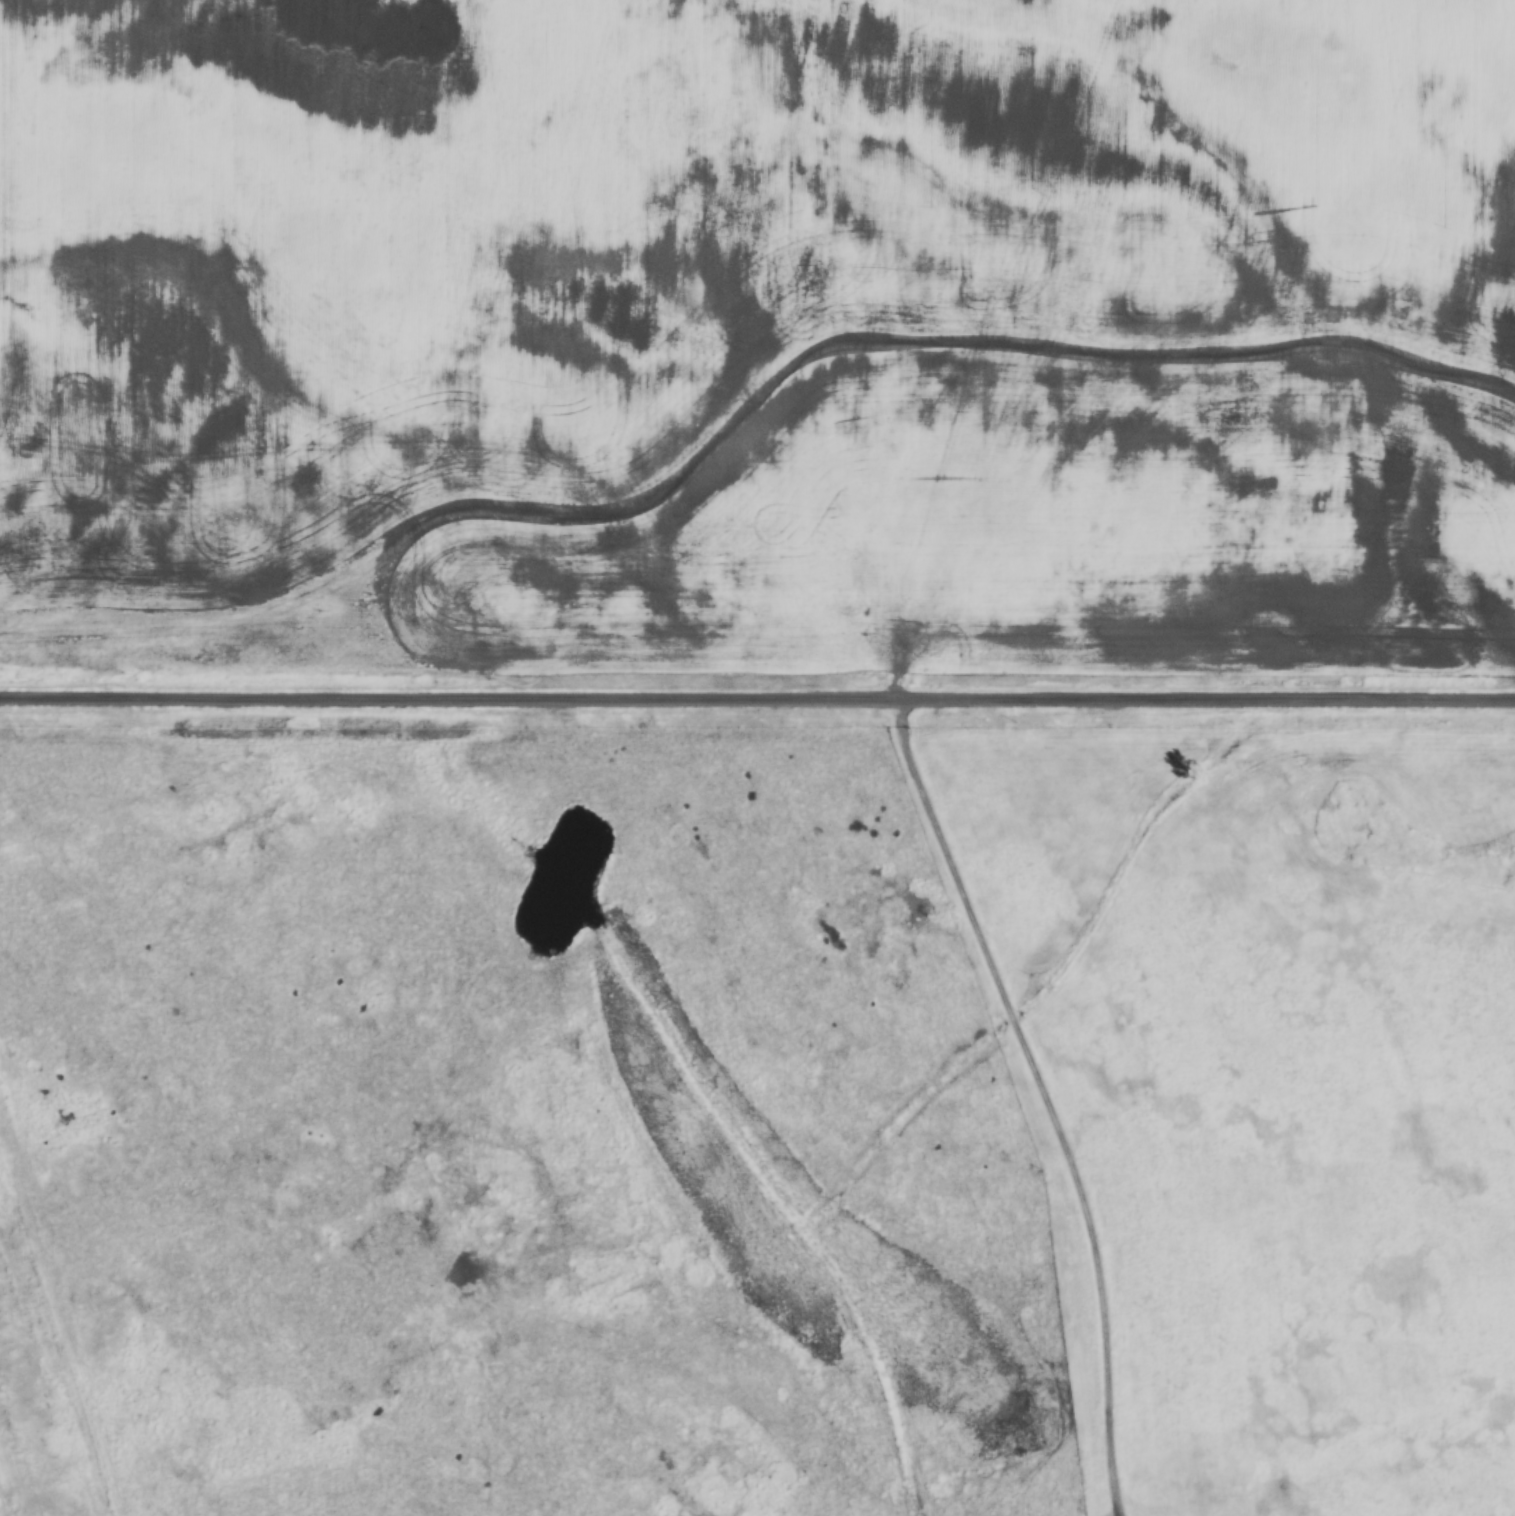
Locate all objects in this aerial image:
road: (757, 701)
road: (1044, 1100)

